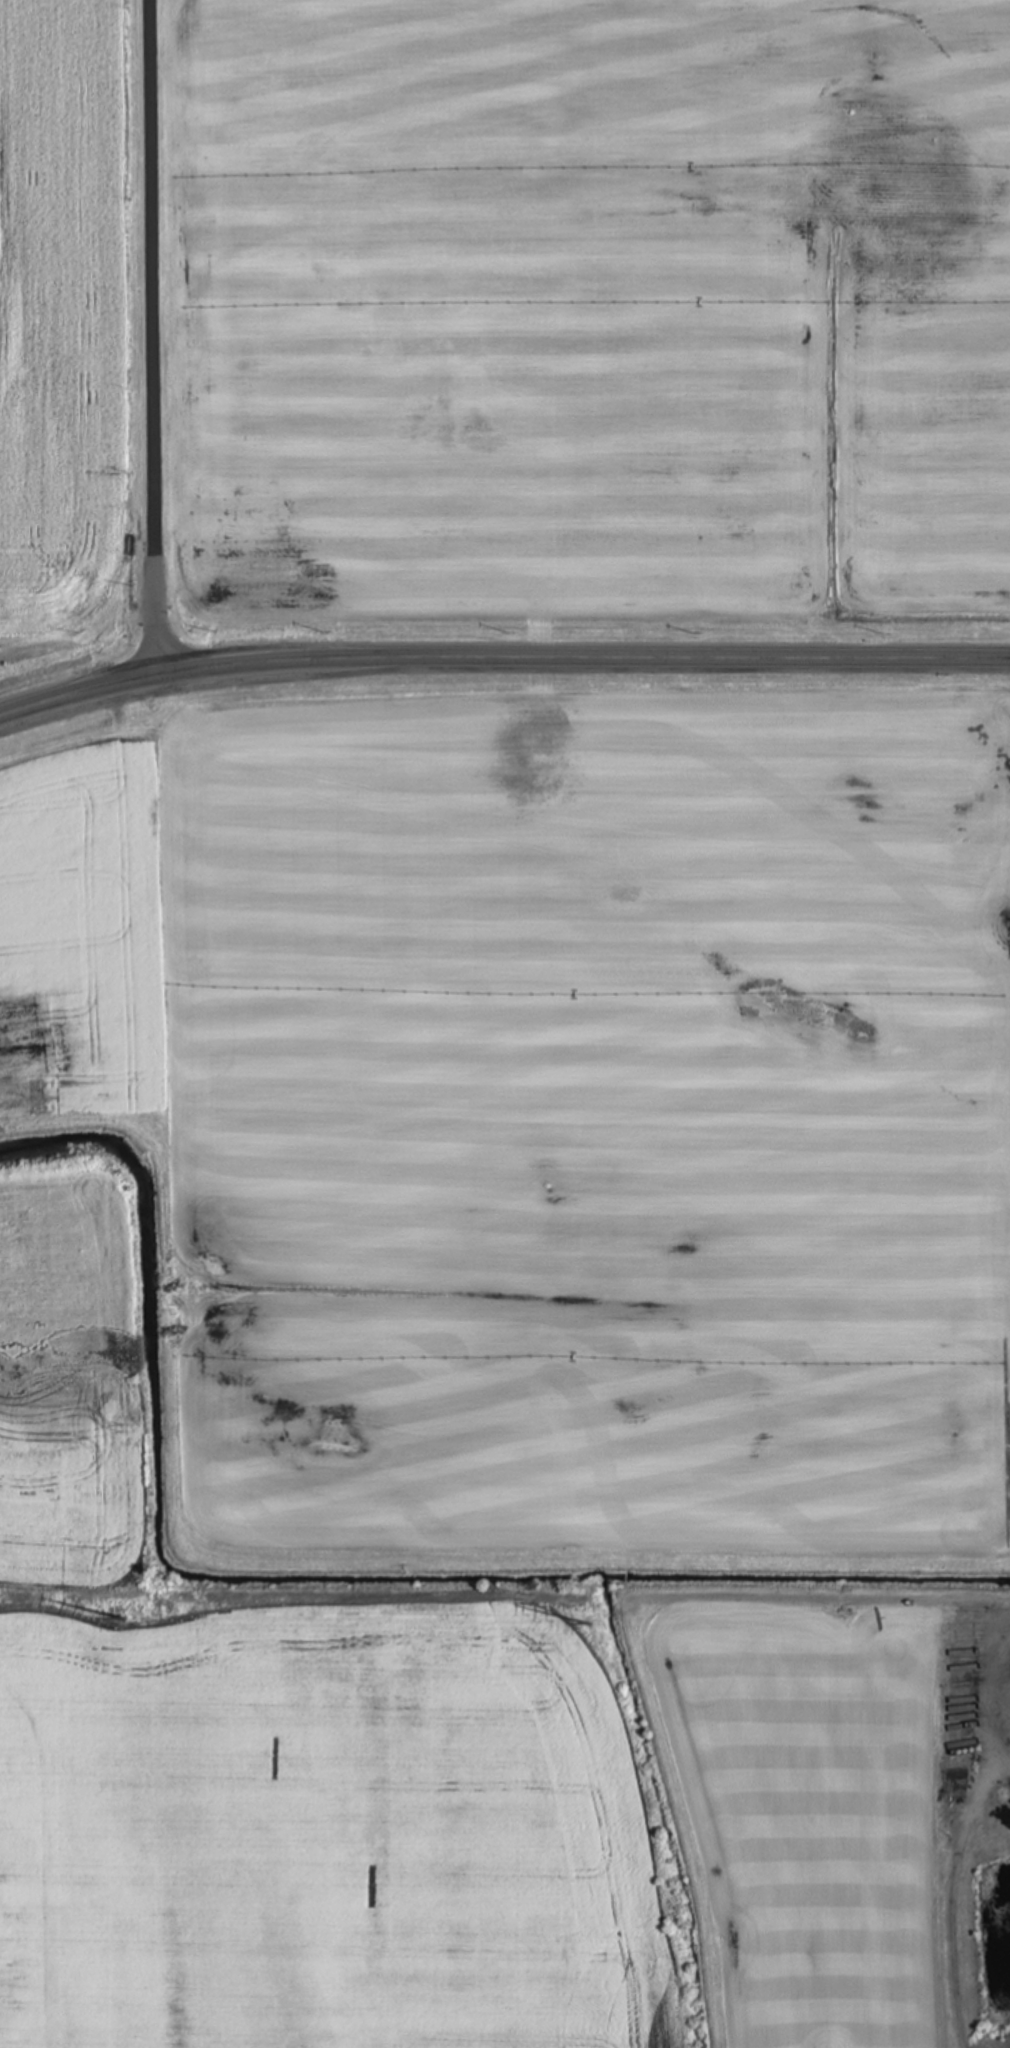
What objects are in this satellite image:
road: (152, 338)
road: (501, 659)
power tower: (121, 1618)
power tower: (589, 1624)

